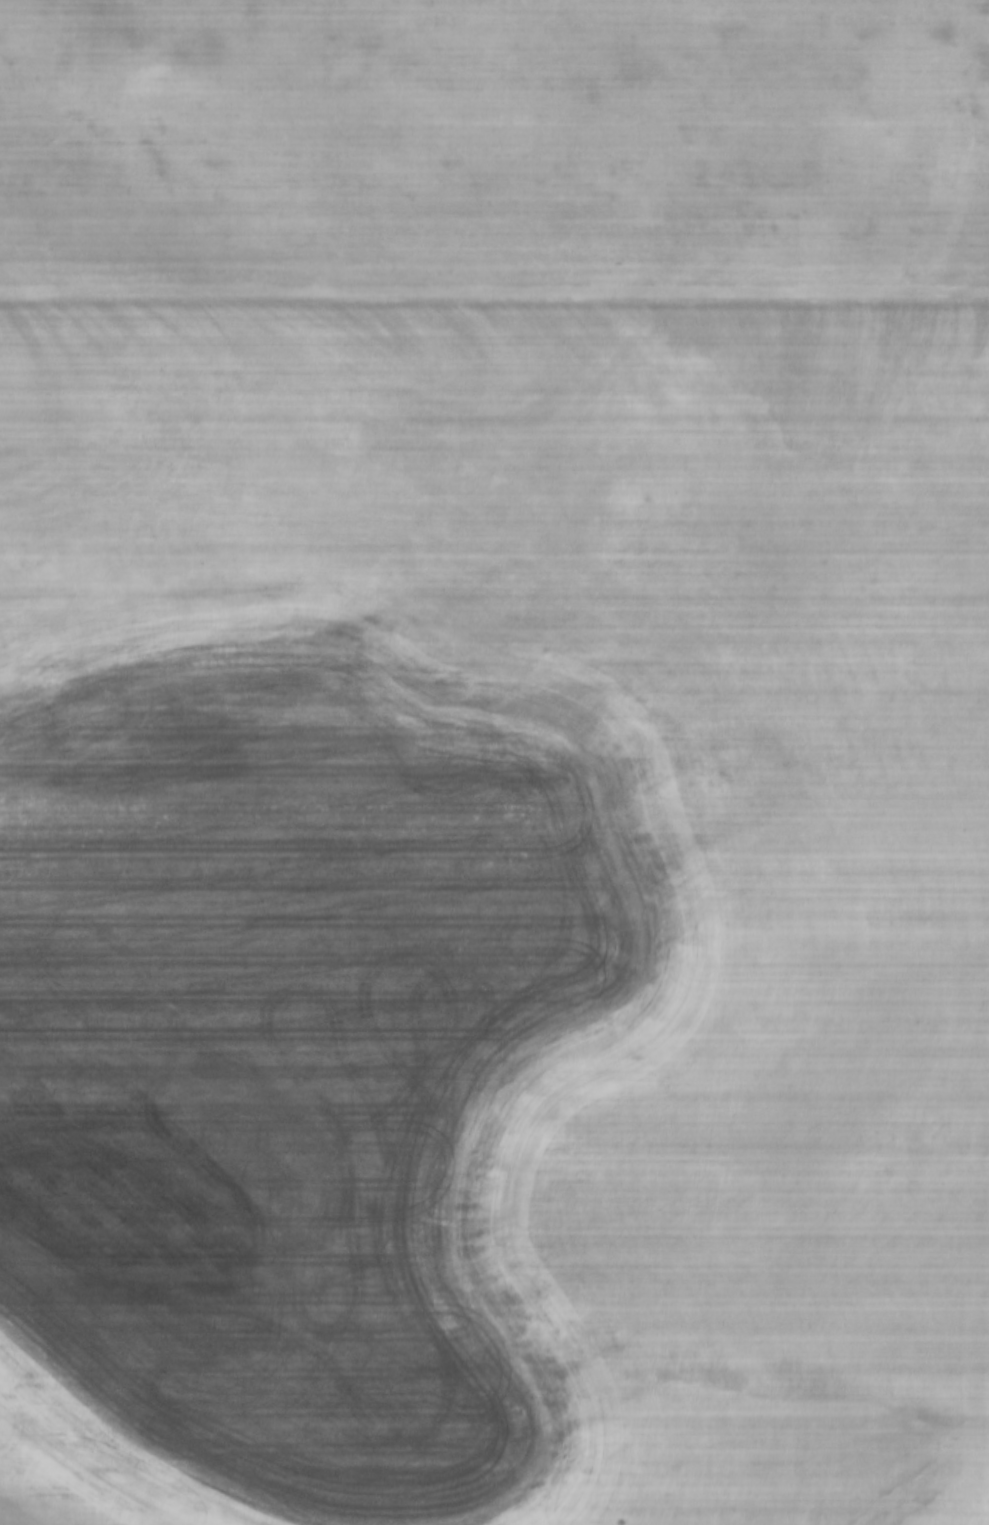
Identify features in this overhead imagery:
road: (494, 302)

